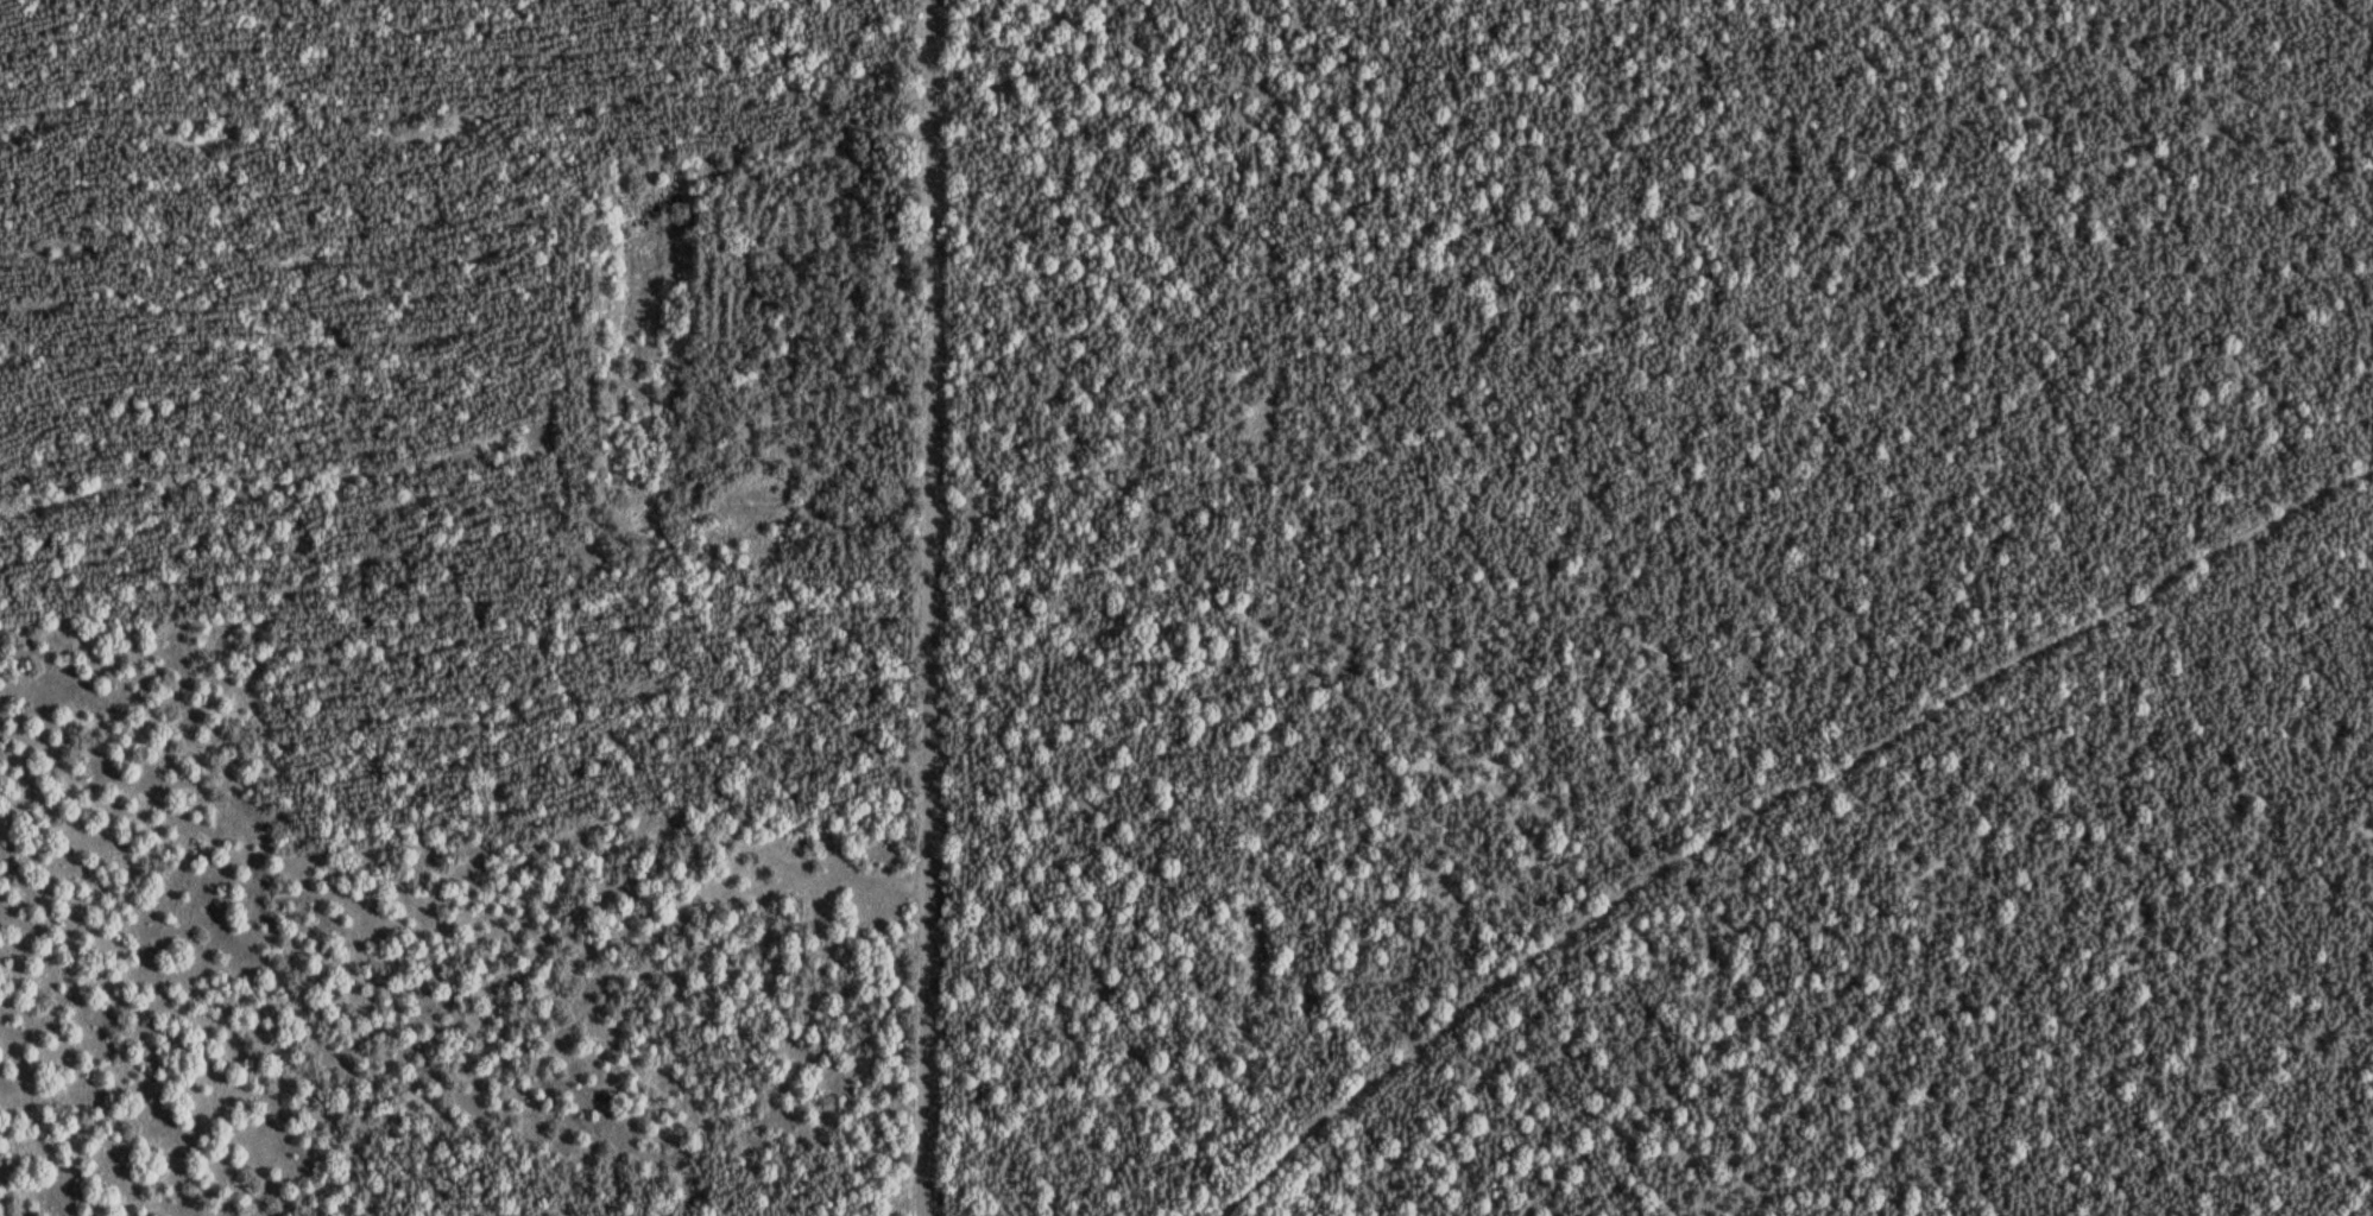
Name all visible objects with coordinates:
road: (927, 608)
road: (1772, 804)

